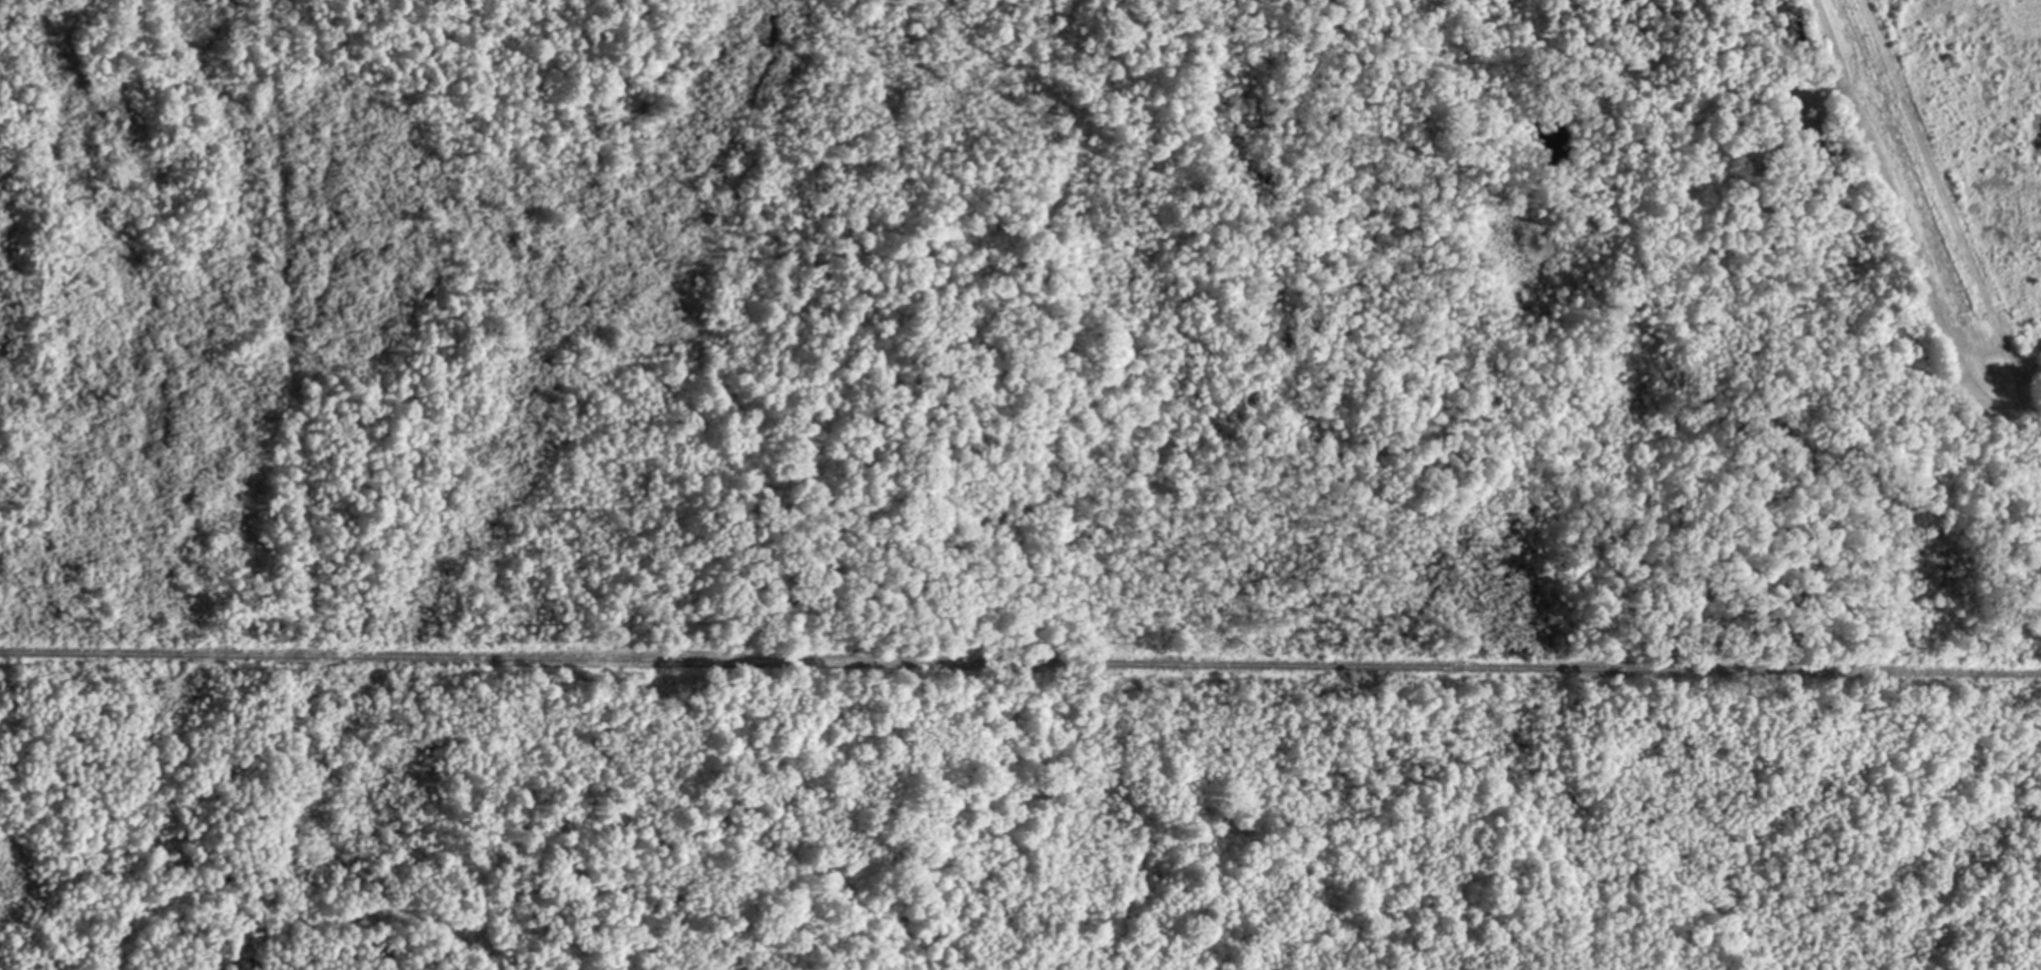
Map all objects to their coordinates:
airport runway: (1911, 193)
railway: (1020, 661)

